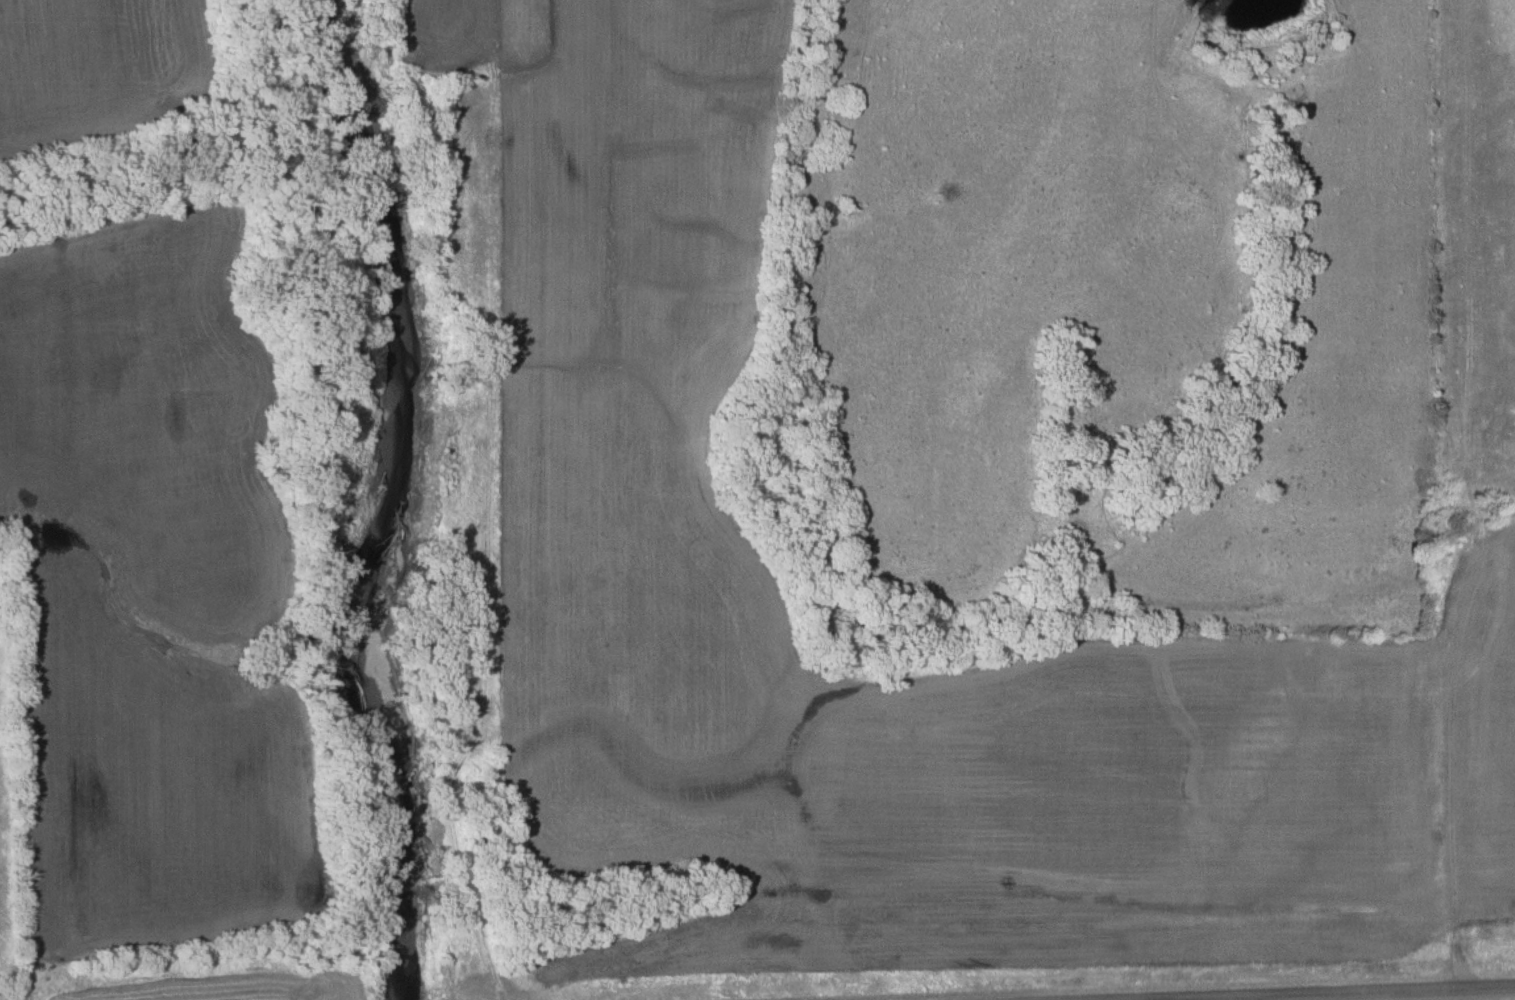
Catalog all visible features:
road: (1361, 995)

